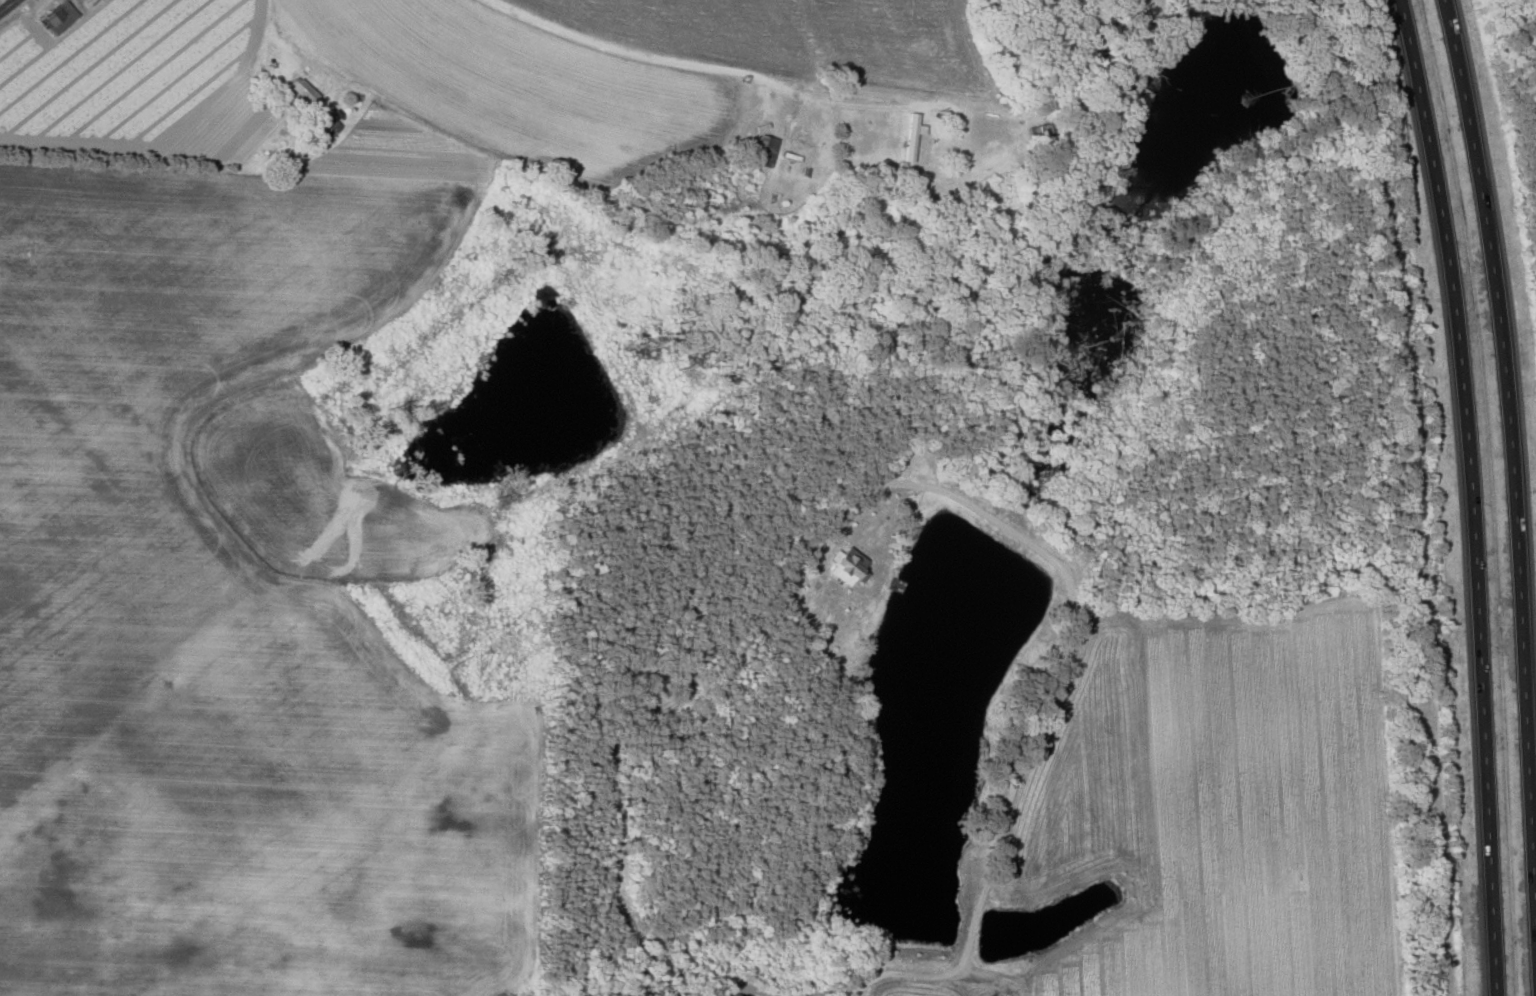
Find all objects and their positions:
road: (7, 5)
building: (58, 17)
road: (288, 45)
road: (702, 67)
building: (300, 92)
building: (327, 128)
building: (911, 136)
building: (764, 151)
road: (1512, 454)
road: (1467, 495)
building: (845, 565)
road: (1054, 683)

